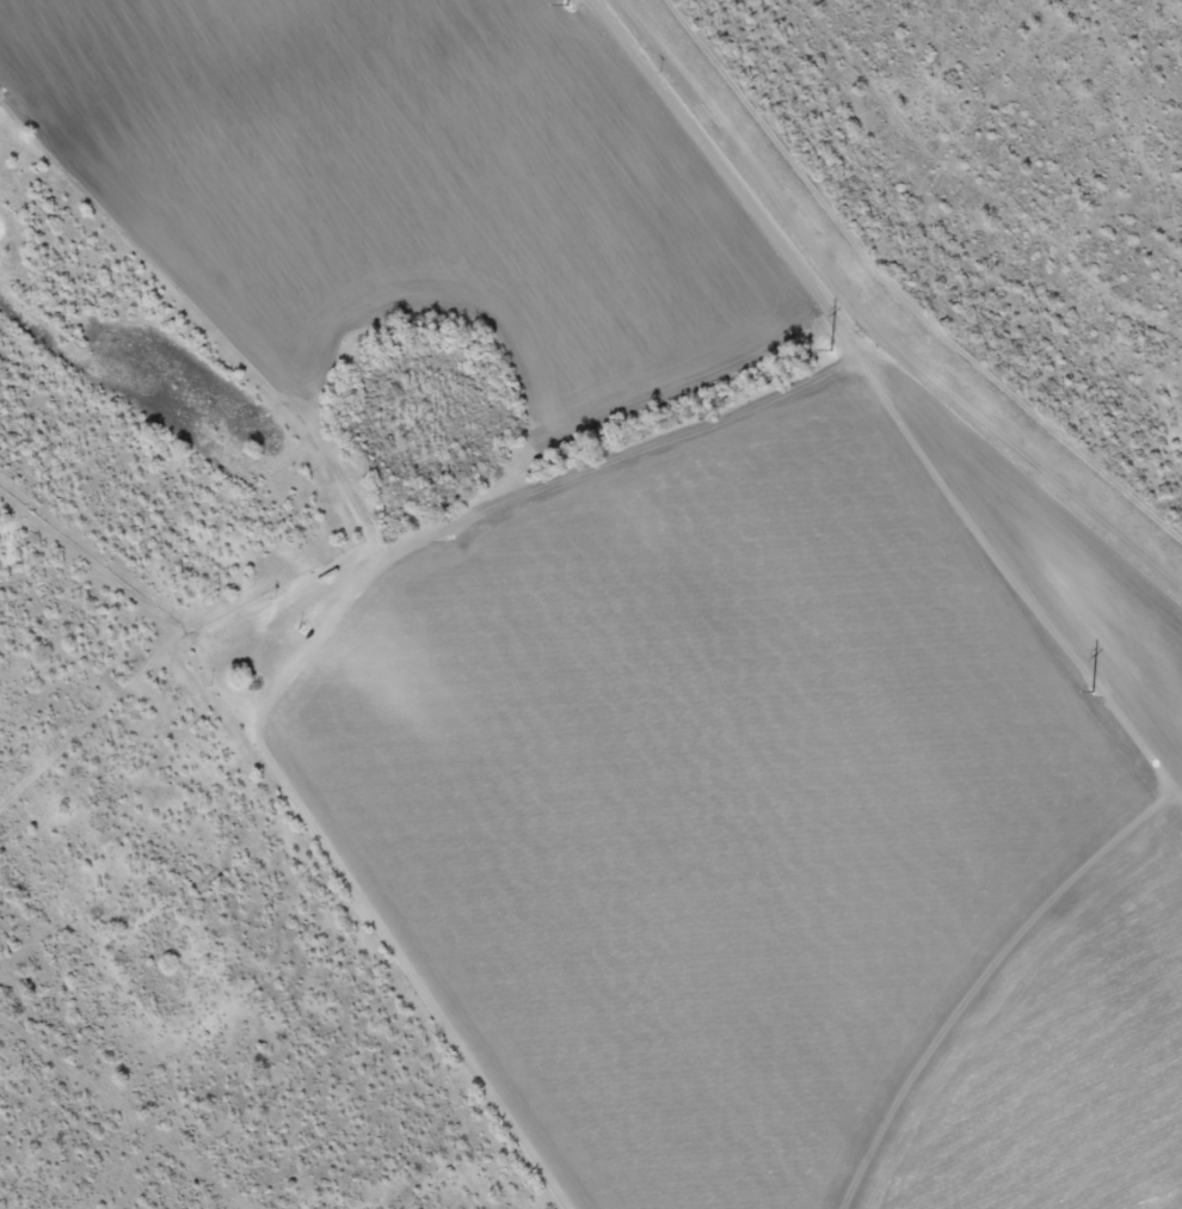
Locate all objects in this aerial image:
road: (389, 305)
power tower: (823, 339)
road: (176, 470)
road: (183, 520)
power tower: (1084, 682)
road: (376, 907)

